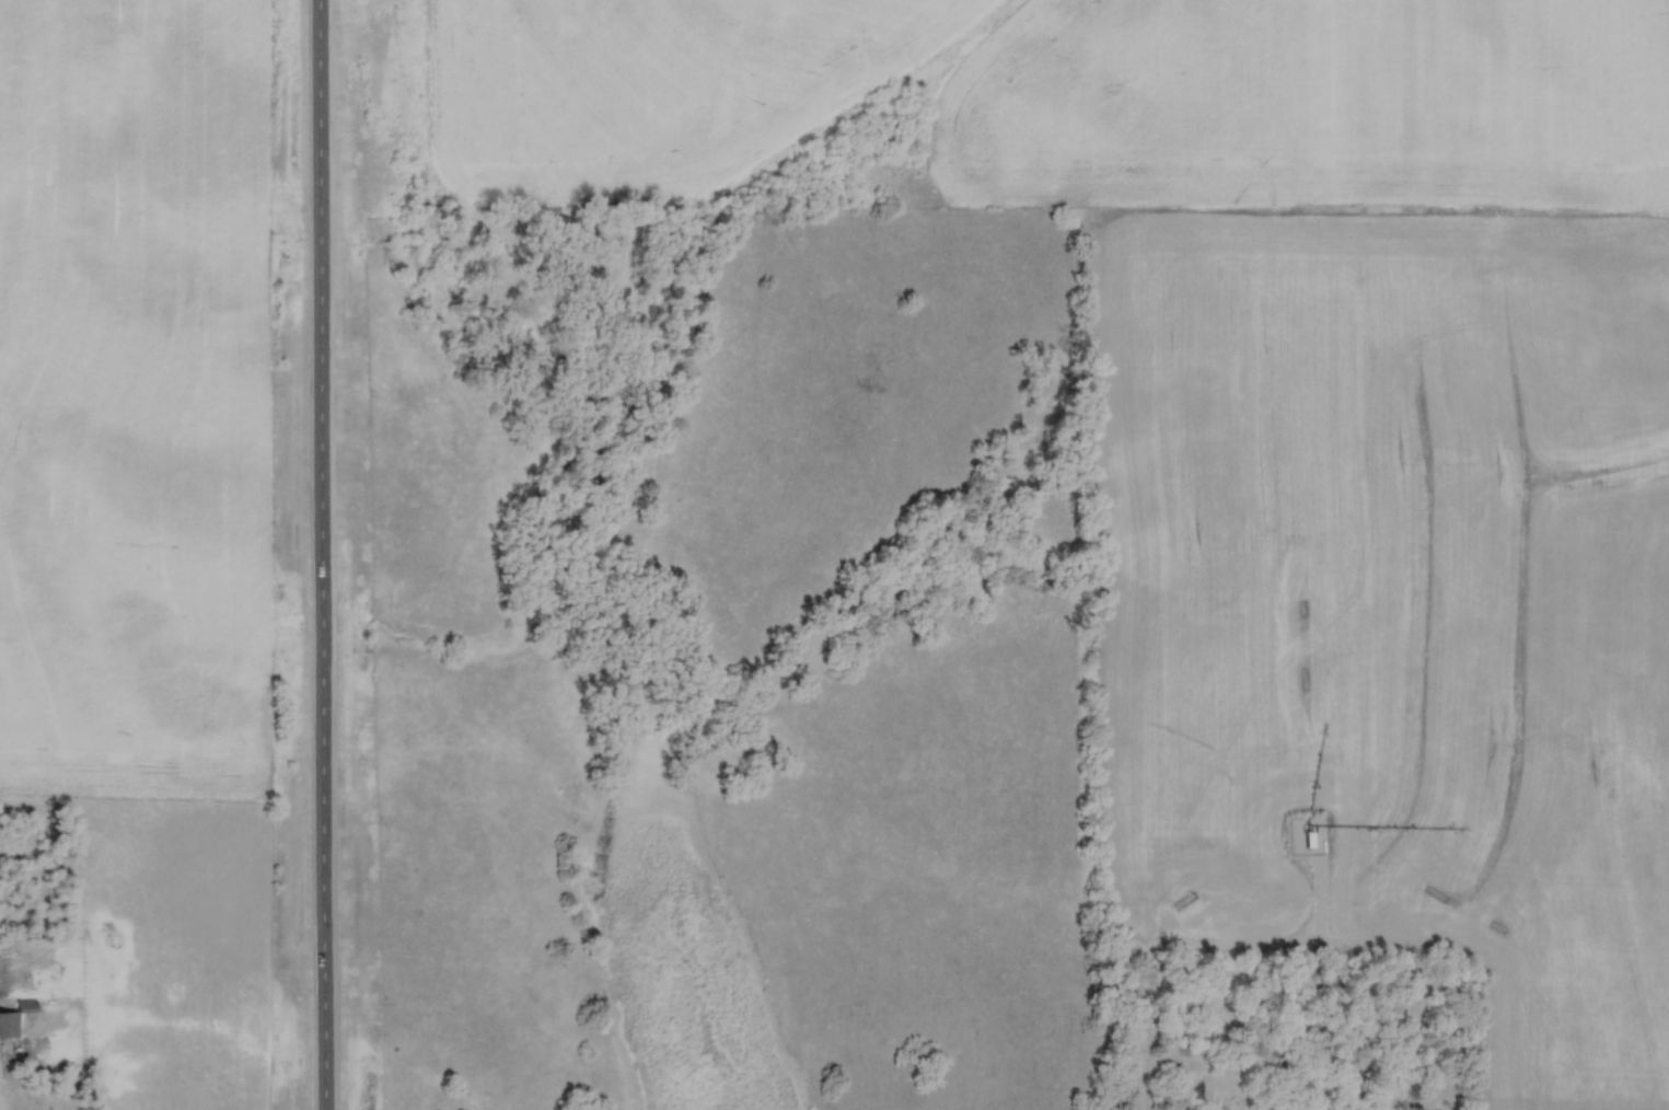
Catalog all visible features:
road: (320, 554)
building: (1309, 841)
road: (1324, 951)
building: (14, 1021)

